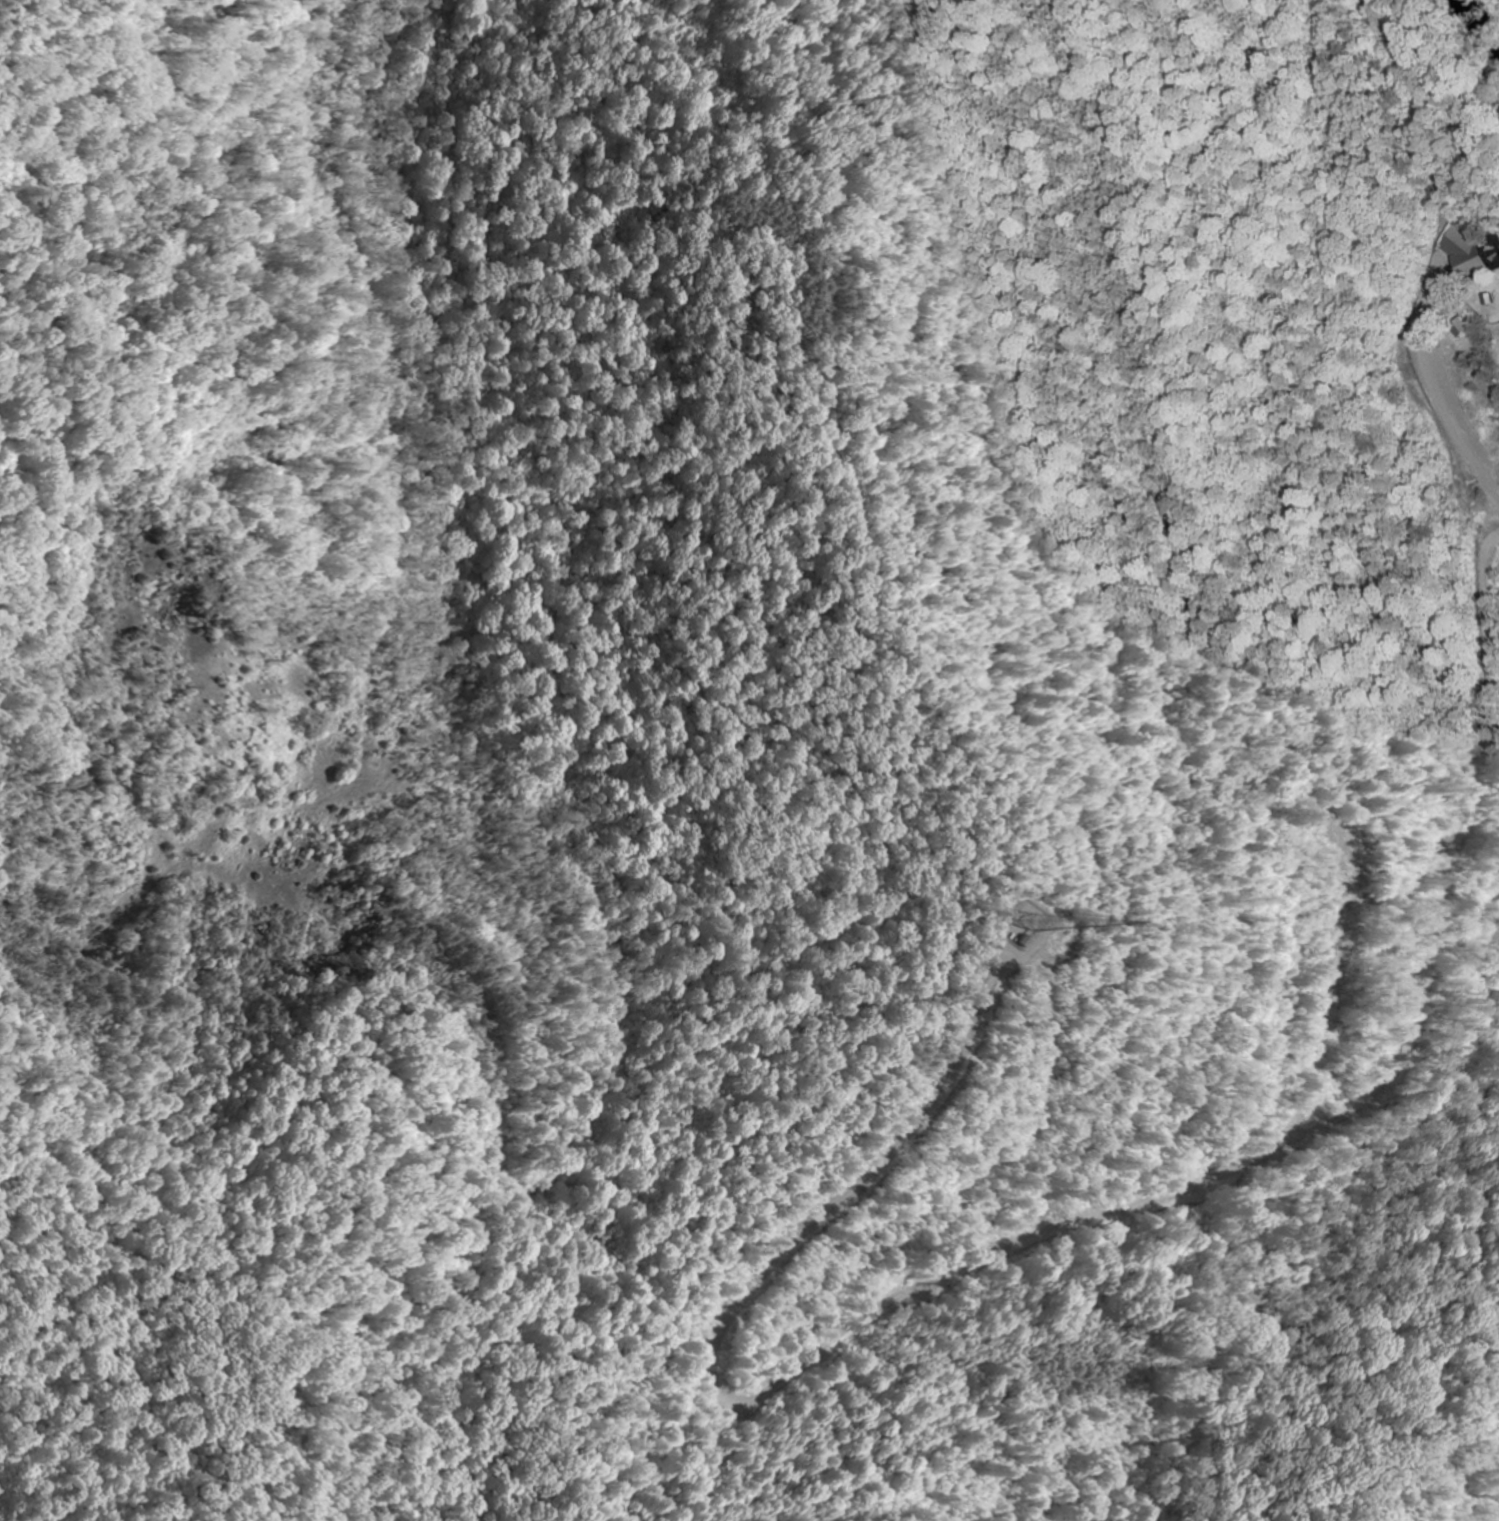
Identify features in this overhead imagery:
river: (1476, 21)
road: (1054, 1228)

